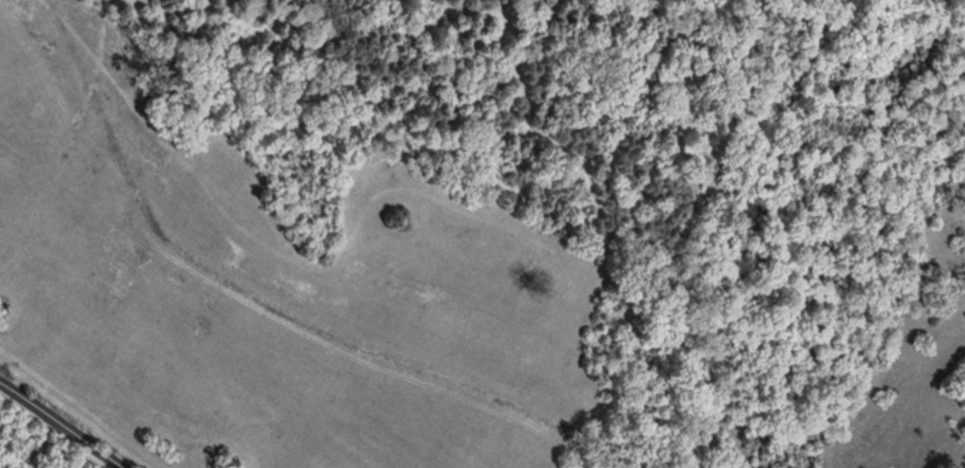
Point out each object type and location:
road: (63, 424)
road: (42, 445)

